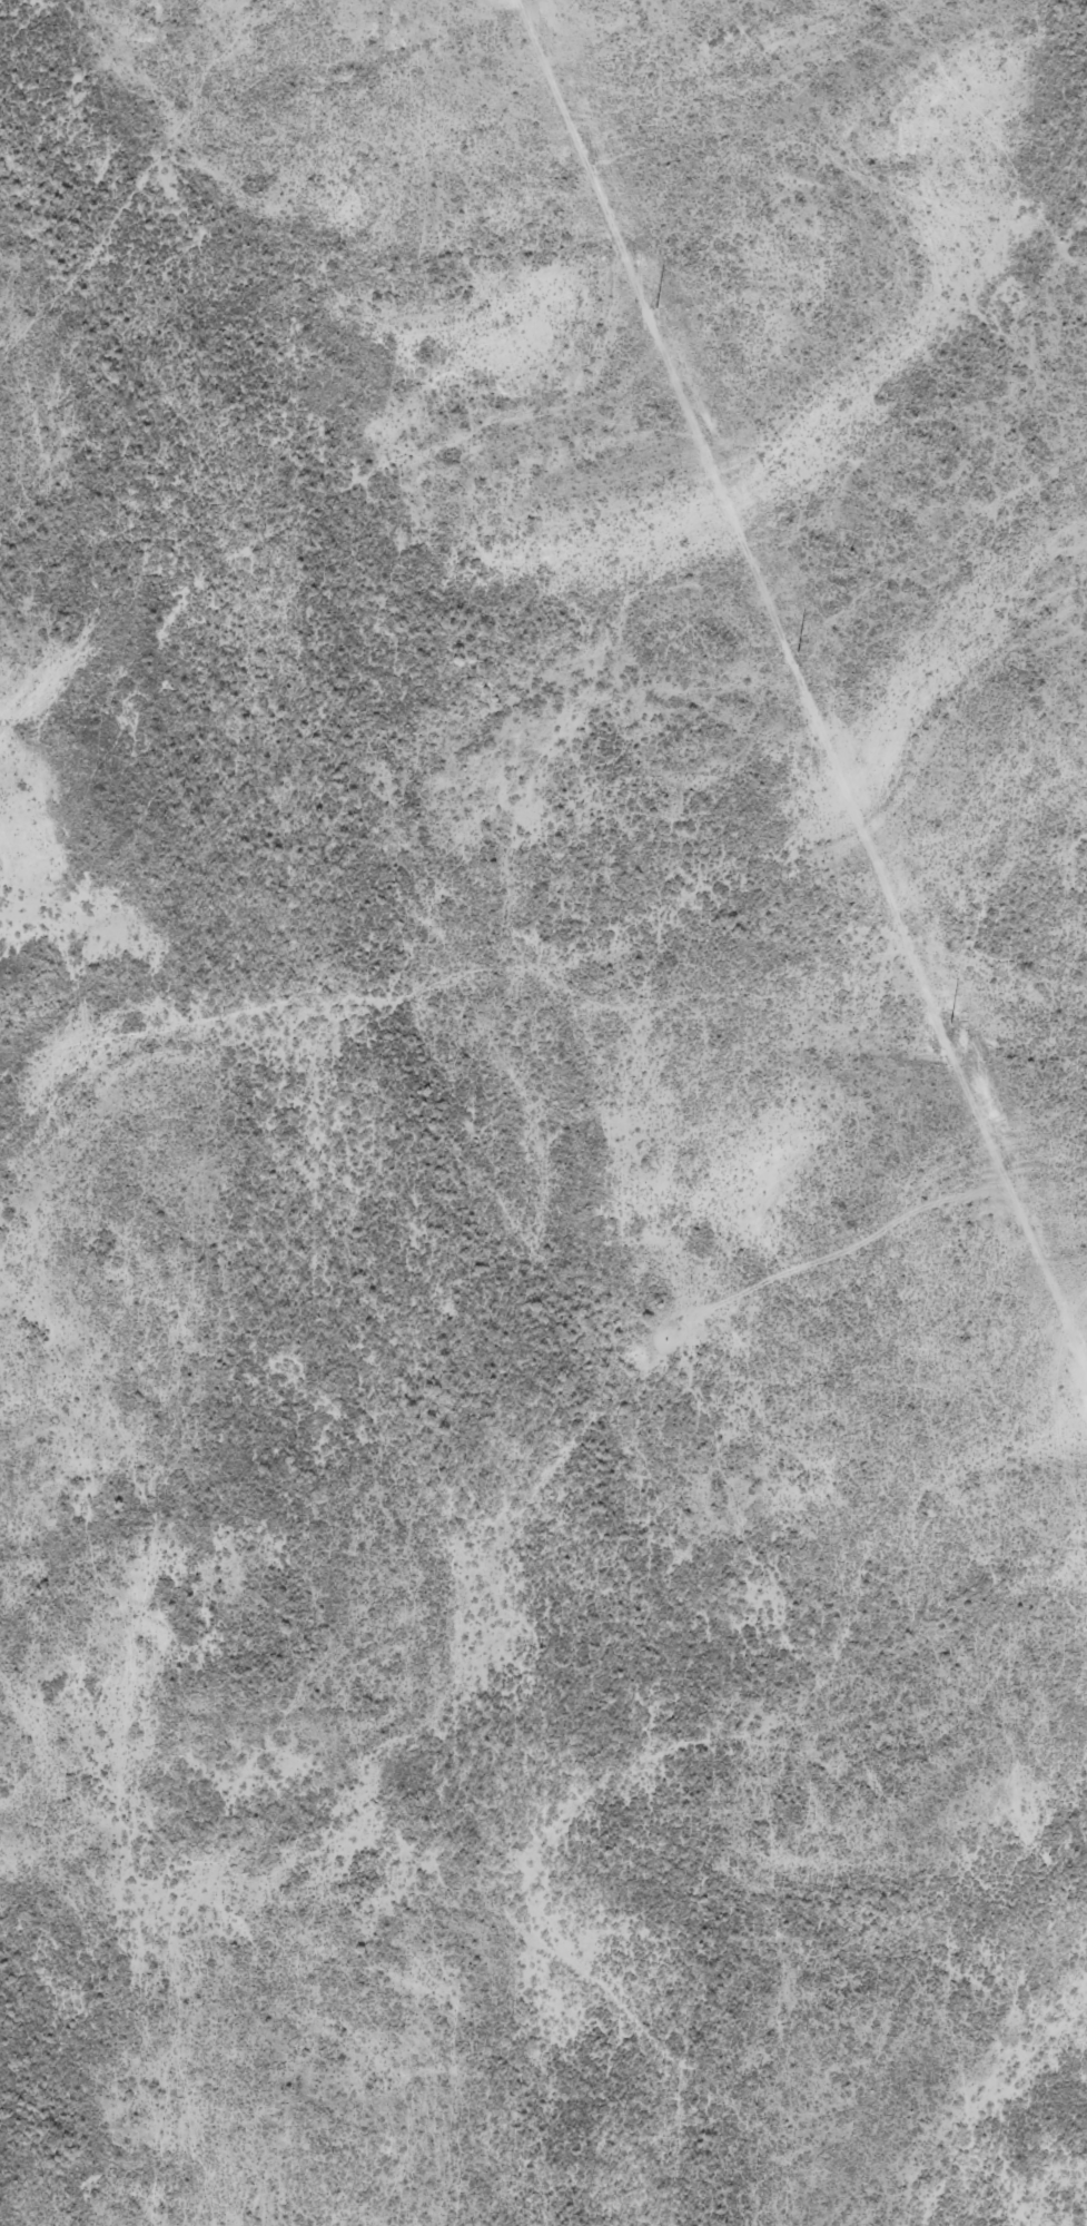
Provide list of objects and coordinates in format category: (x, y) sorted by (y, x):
power tower: (659, 307)
power tower: (799, 651)
power tower: (950, 1022)

